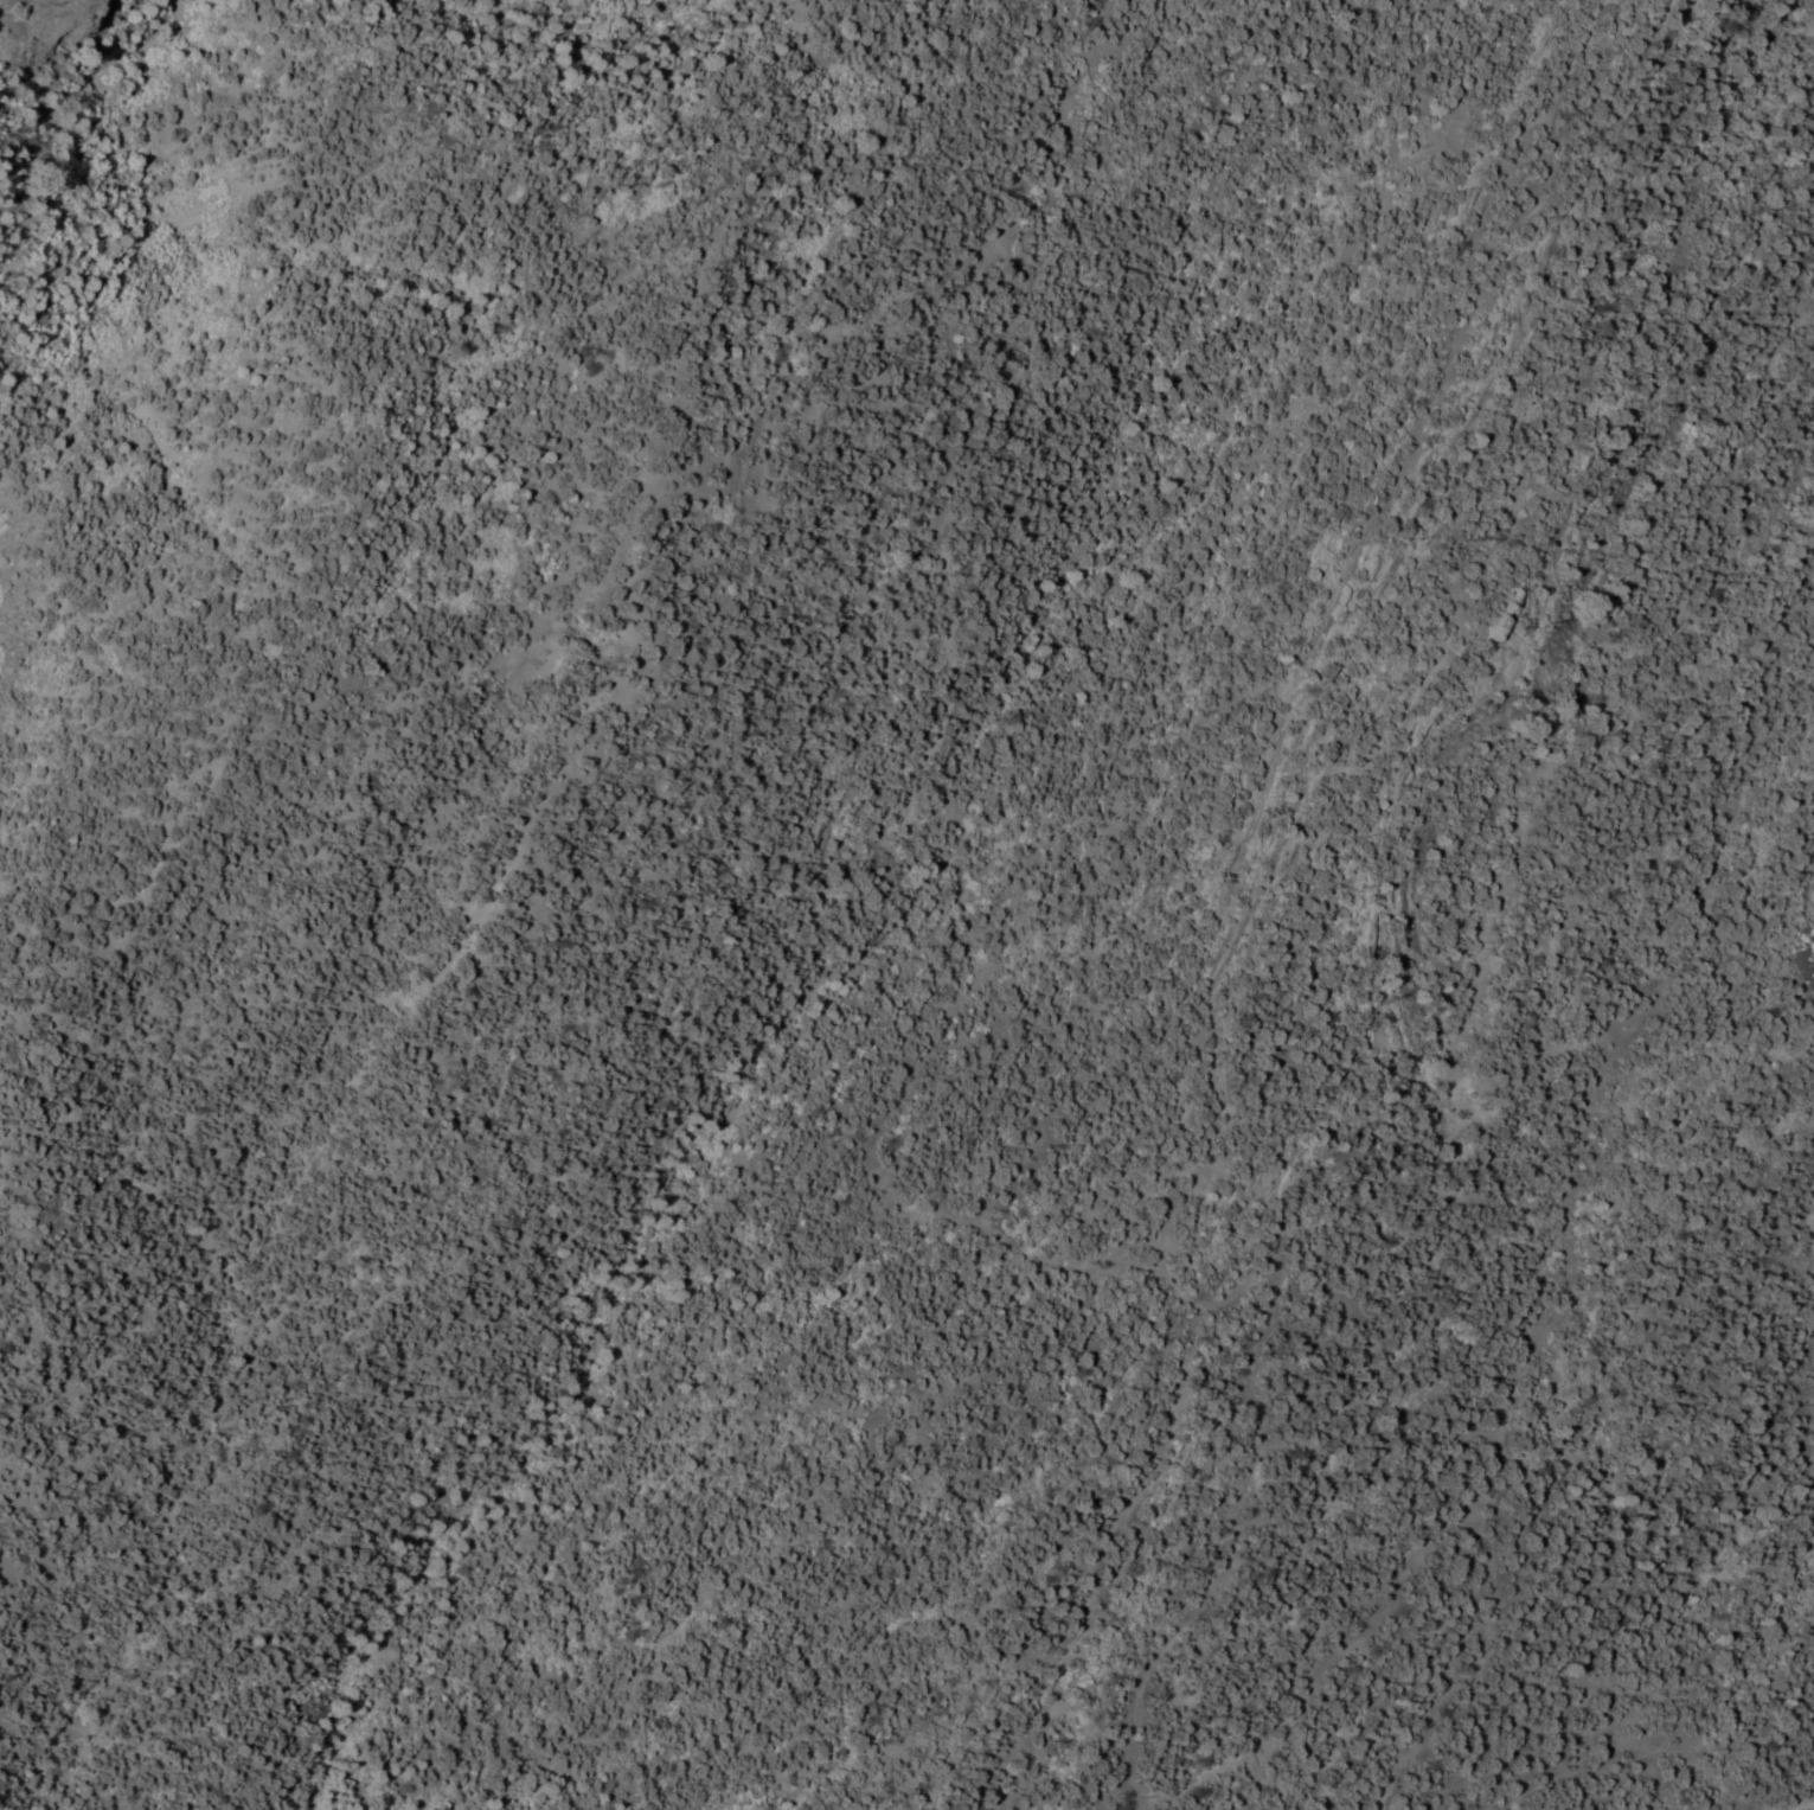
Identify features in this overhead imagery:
road: (50, 107)
road: (906, 280)
road: (611, 498)
road: (902, 819)
road: (1219, 896)

